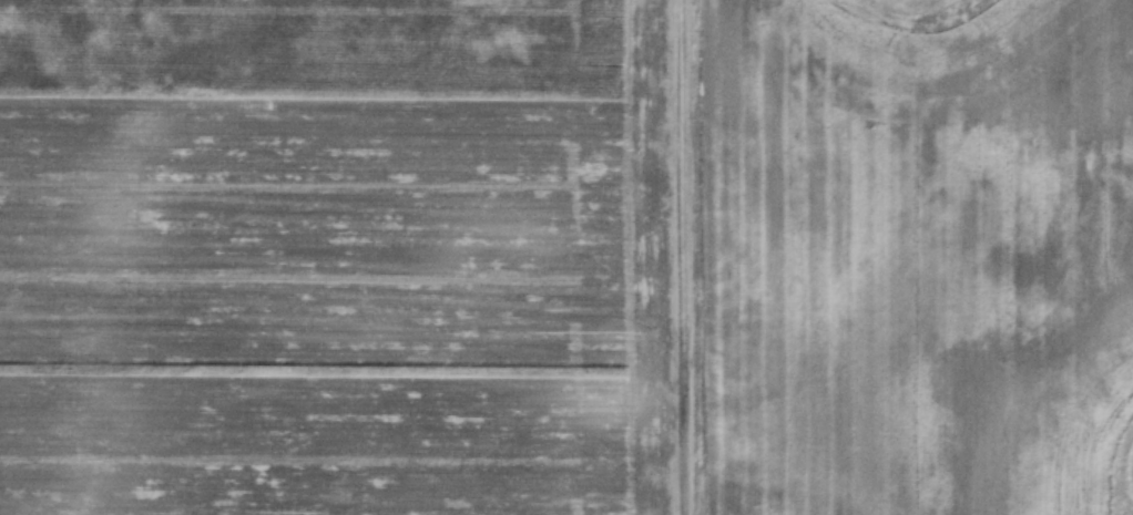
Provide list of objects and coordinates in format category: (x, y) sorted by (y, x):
road: (694, 257)

